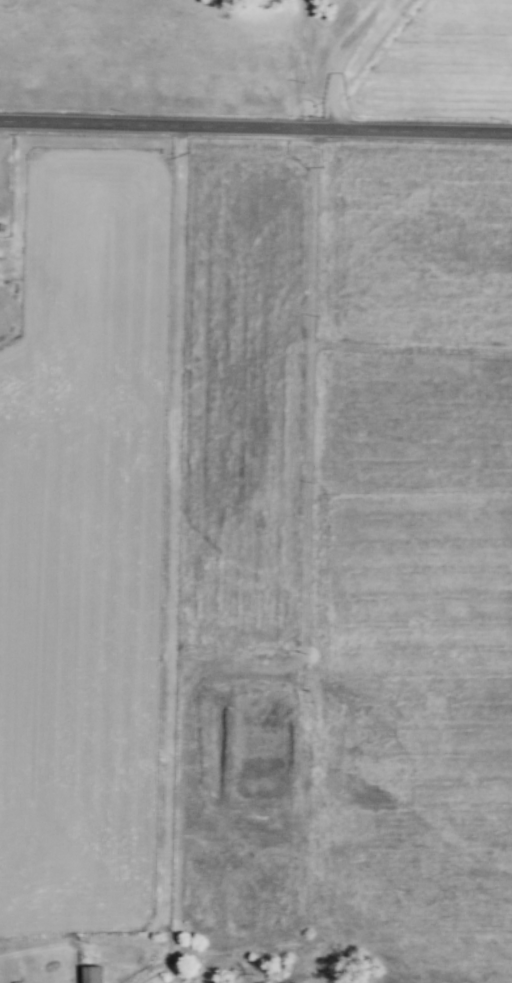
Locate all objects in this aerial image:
crop: (442, 64)
road: (255, 126)
road: (410, 350)
crop: (84, 544)
road: (172, 560)
road: (307, 591)
road: (153, 972)
building: (93, 974)
road: (117, 978)

